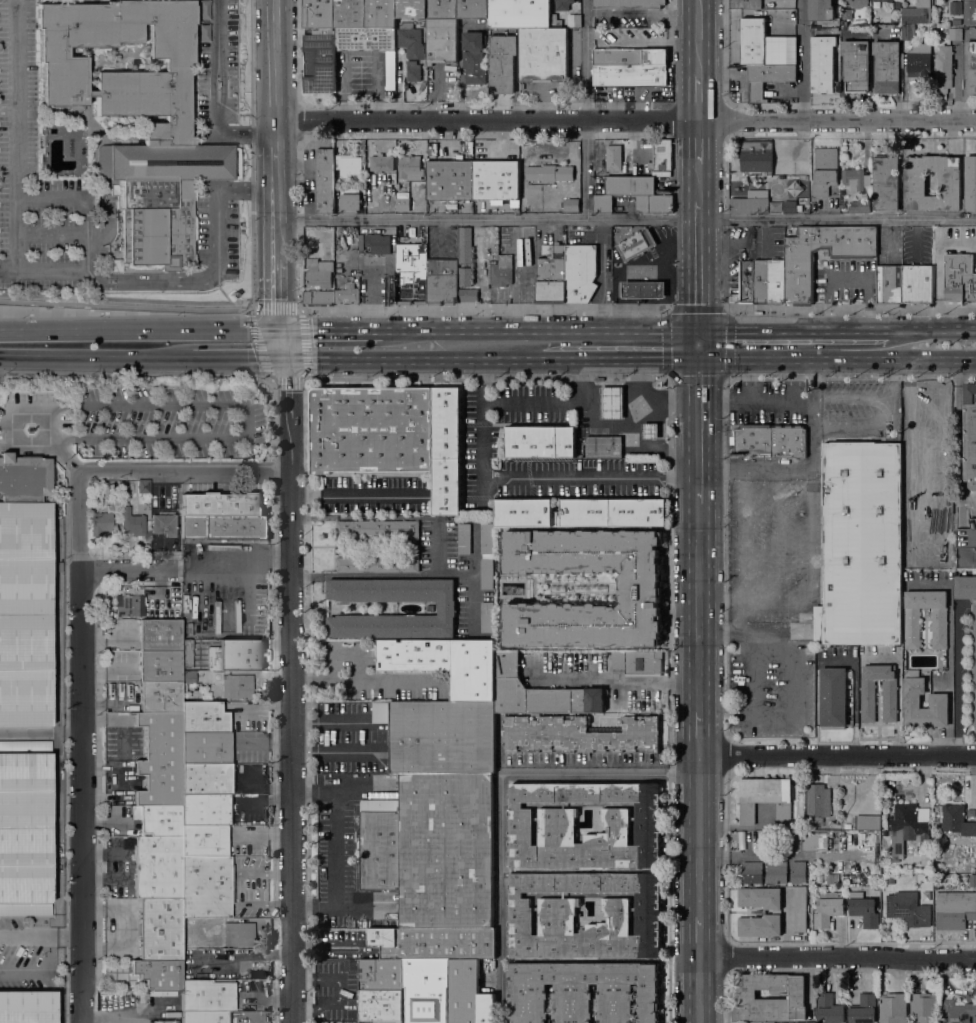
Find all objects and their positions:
building: (879, 0)
building: (856, 3)
building: (563, 4)
building: (628, 4)
building: (745, 4)
building: (956, 7)
building: (411, 9)
building: (442, 9)
building: (472, 9)
building: (823, 10)
building: (969, 11)
building: (917, 13)
building: (319, 14)
building: (349, 14)
building: (380, 14)
building: (519, 14)
building: (847, 14)
building: (573, 20)
building: (555, 22)
building: (956, 22)
building: (753, 23)
building: (423, 24)
building: (945, 29)
building: (908, 31)
building: (955, 33)
road: (698, 37)
building: (752, 37)
building: (380, 40)
building: (411, 40)
building: (441, 40)
building: (361, 56)
building: (544, 56)
building: (754, 56)
building: (327, 57)
building: (474, 57)
building: (629, 57)
road: (801, 59)
parking lot: (218, 61)
building: (503, 63)
building: (823, 63)
building: (918, 64)
building: (856, 65)
building: (971, 65)
building: (887, 66)
building: (943, 69)
building: (390, 71)
building: (413, 71)
road: (275, 72)
building: (630, 76)
building: (767, 79)
road: (218, 93)
road: (698, 97)
road: (585, 109)
road: (625, 119)
building: (166, 130)
road: (17, 134)
road: (698, 141)
road: (252, 155)
building: (661, 155)
building: (756, 156)
building: (613, 157)
road: (211, 158)
building: (381, 163)
building: (597, 164)
building: (347, 165)
building: (410, 167)
building: (824, 170)
building: (549, 173)
building: (855, 178)
building: (450, 180)
building: (496, 180)
building: (325, 181)
road: (698, 182)
building: (344, 183)
building: (886, 183)
building: (914, 183)
building: (970, 183)
building: (630, 187)
road: (49, 194)
parking lot: (75, 198)
building: (350, 201)
road: (275, 202)
building: (751, 202)
building: (403, 204)
building: (603, 204)
building: (654, 204)
building: (571, 205)
building: (842, 205)
building: (789, 207)
building: (860, 207)
building: (799, 208)
road: (486, 218)
road: (837, 219)
road: (68, 235)
building: (379, 244)
building: (636, 244)
building: (465, 245)
road: (698, 266)
building: (501, 271)
building: (319, 273)
building: (411, 273)
building: (580, 273)
building: (551, 275)
building: (464, 276)
road: (847, 278)
building: (959, 278)
road: (179, 280)
building: (799, 280)
building: (769, 281)
building: (441, 282)
building: (744, 283)
building: (889, 284)
building: (917, 284)
building: (644, 290)
road: (276, 294)
building: (467, 295)
building: (346, 296)
building: (318, 298)
road: (298, 309)
road: (483, 309)
road: (727, 309)
road: (852, 310)
road: (124, 315)
road: (63, 330)
road: (203, 330)
traffic signals: (280, 330)
road: (330, 330)
road: (539, 330)
road: (796, 330)
traffic signals: (699, 331)
road: (934, 331)
road: (282, 344)
road: (699, 345)
road: (72, 357)
road: (170, 358)
road: (240, 358)
traffic signals: (285, 358)
road: (412, 359)
road: (619, 360)
traffic signals: (699, 360)
road: (837, 360)
road: (267, 371)
road: (134, 373)
road: (487, 376)
road: (640, 382)
road: (856, 398)
building: (930, 400)
building: (611, 402)
road: (553, 403)
road: (611, 404)
road: (669, 405)
road: (767, 405)
parking lot: (851, 405)
road: (20, 406)
road: (2, 418)
road: (248, 418)
road: (958, 427)
building: (371, 430)
building: (650, 431)
road: (698, 431)
road: (868, 432)
road: (725, 433)
building: (970, 434)
building: (771, 440)
building: (540, 442)
building: (603, 446)
building: (446, 451)
road: (59, 453)
road: (756, 469)
road: (135, 472)
road: (530, 477)
building: (143, 486)
building: (112, 487)
road: (358, 493)
building: (221, 505)
building: (581, 512)
building: (103, 520)
building: (132, 523)
building: (164, 525)
building: (913, 527)
building: (226, 528)
building: (377, 529)
building: (487, 538)
building: (464, 539)
parking lot: (767, 540)
building: (860, 545)
road: (435, 546)
building: (966, 546)
building: (154, 547)
building: (377, 563)
road: (475, 568)
road: (187, 571)
road: (814, 572)
building: (487, 573)
building: (927, 575)
building: (638, 588)
building: (24, 591)
building: (162, 602)
road: (475, 603)
building: (129, 606)
road: (698, 607)
building: (430, 608)
building: (447, 608)
building: (184, 617)
building: (487, 617)
building: (912, 619)
building: (212, 647)
building: (168, 654)
building: (240, 657)
building: (637, 663)
building: (446, 664)
building: (974, 665)
building: (938, 676)
building: (188, 678)
road: (358, 680)
road: (957, 680)
road: (656, 683)
building: (914, 685)
building: (237, 687)
road: (293, 690)
road: (853, 690)
building: (538, 692)
building: (114, 698)
building: (160, 698)
building: (833, 698)
building: (890, 700)
building: (203, 718)
road: (31, 732)
road: (73, 732)
road: (367, 733)
road: (699, 733)
building: (580, 734)
building: (439, 737)
building: (205, 749)
airport: (31, 753)
road: (726, 754)
road: (837, 756)
building: (160, 761)
road: (580, 764)
building: (206, 779)
road: (83, 797)
road: (501, 799)
building: (766, 799)
building: (818, 803)
building: (204, 810)
building: (957, 820)
building: (158, 821)
building: (866, 822)
building: (557, 823)
building: (847, 825)
building: (798, 826)
building: (908, 826)
building: (25, 829)
road: (699, 835)
building: (204, 841)
building: (809, 842)
road: (334, 849)
building: (432, 850)
building: (157, 868)
building: (752, 872)
building: (777, 872)
building: (798, 872)
building: (829, 878)
building: (820, 879)
building: (972, 881)
building: (928, 886)
building: (206, 887)
building: (849, 889)
building: (828, 908)
building: (799, 909)
building: (908, 909)
building: (954, 909)
building: (864, 910)
building: (777, 911)
building: (557, 915)
building: (159, 930)
building: (239, 935)
road: (698, 935)
road: (41, 937)
building: (434, 943)
road: (836, 957)
building: (158, 975)
building: (381, 975)
road: (323, 977)
road: (698, 989)
building: (425, 990)
building: (583, 991)
building: (468, 994)
building: (746, 994)
building: (207, 997)
building: (381, 1006)
building: (27, 1007)
building: (924, 1007)
building: (893, 1008)
building: (829, 1009)
building: (864, 1009)
building: (957, 1012)
building: (206, 1017)
building: (387, 1022)
building: (769, 1022)
building: (788, 1022)

